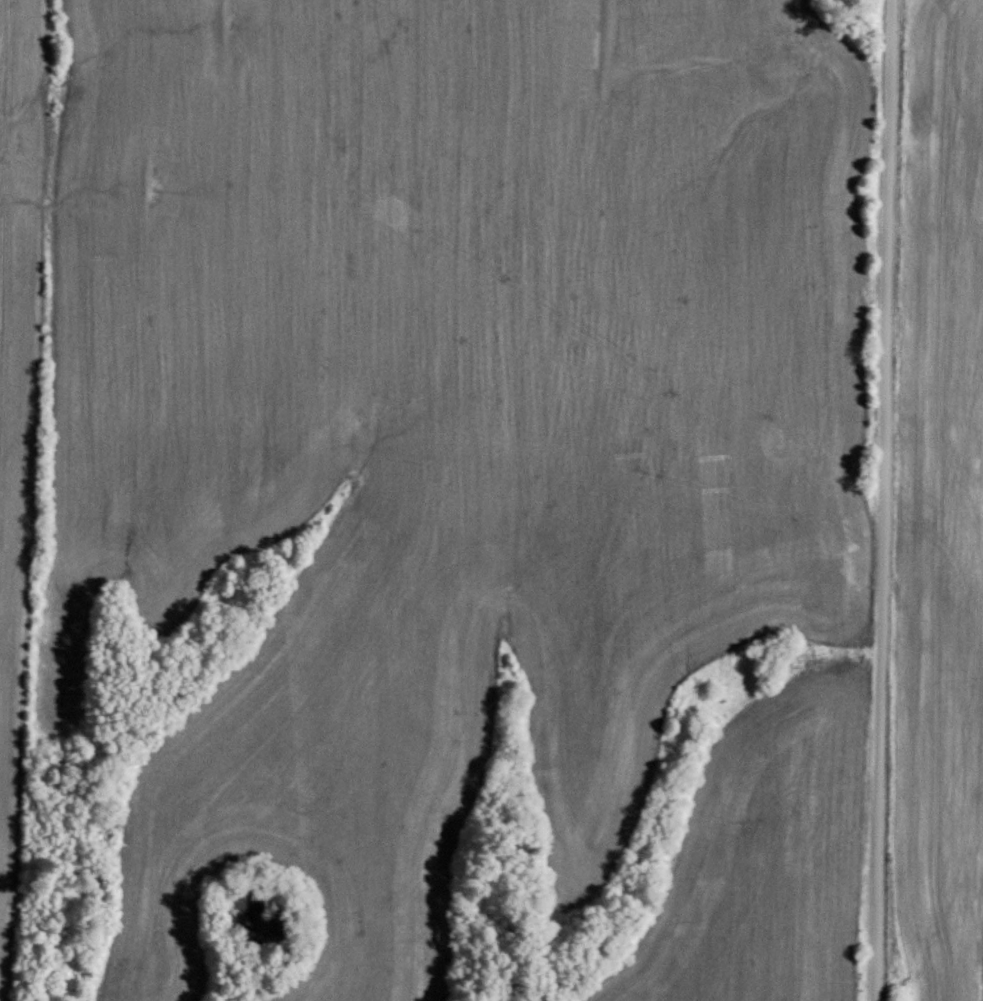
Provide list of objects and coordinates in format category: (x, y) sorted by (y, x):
road: (893, 500)

